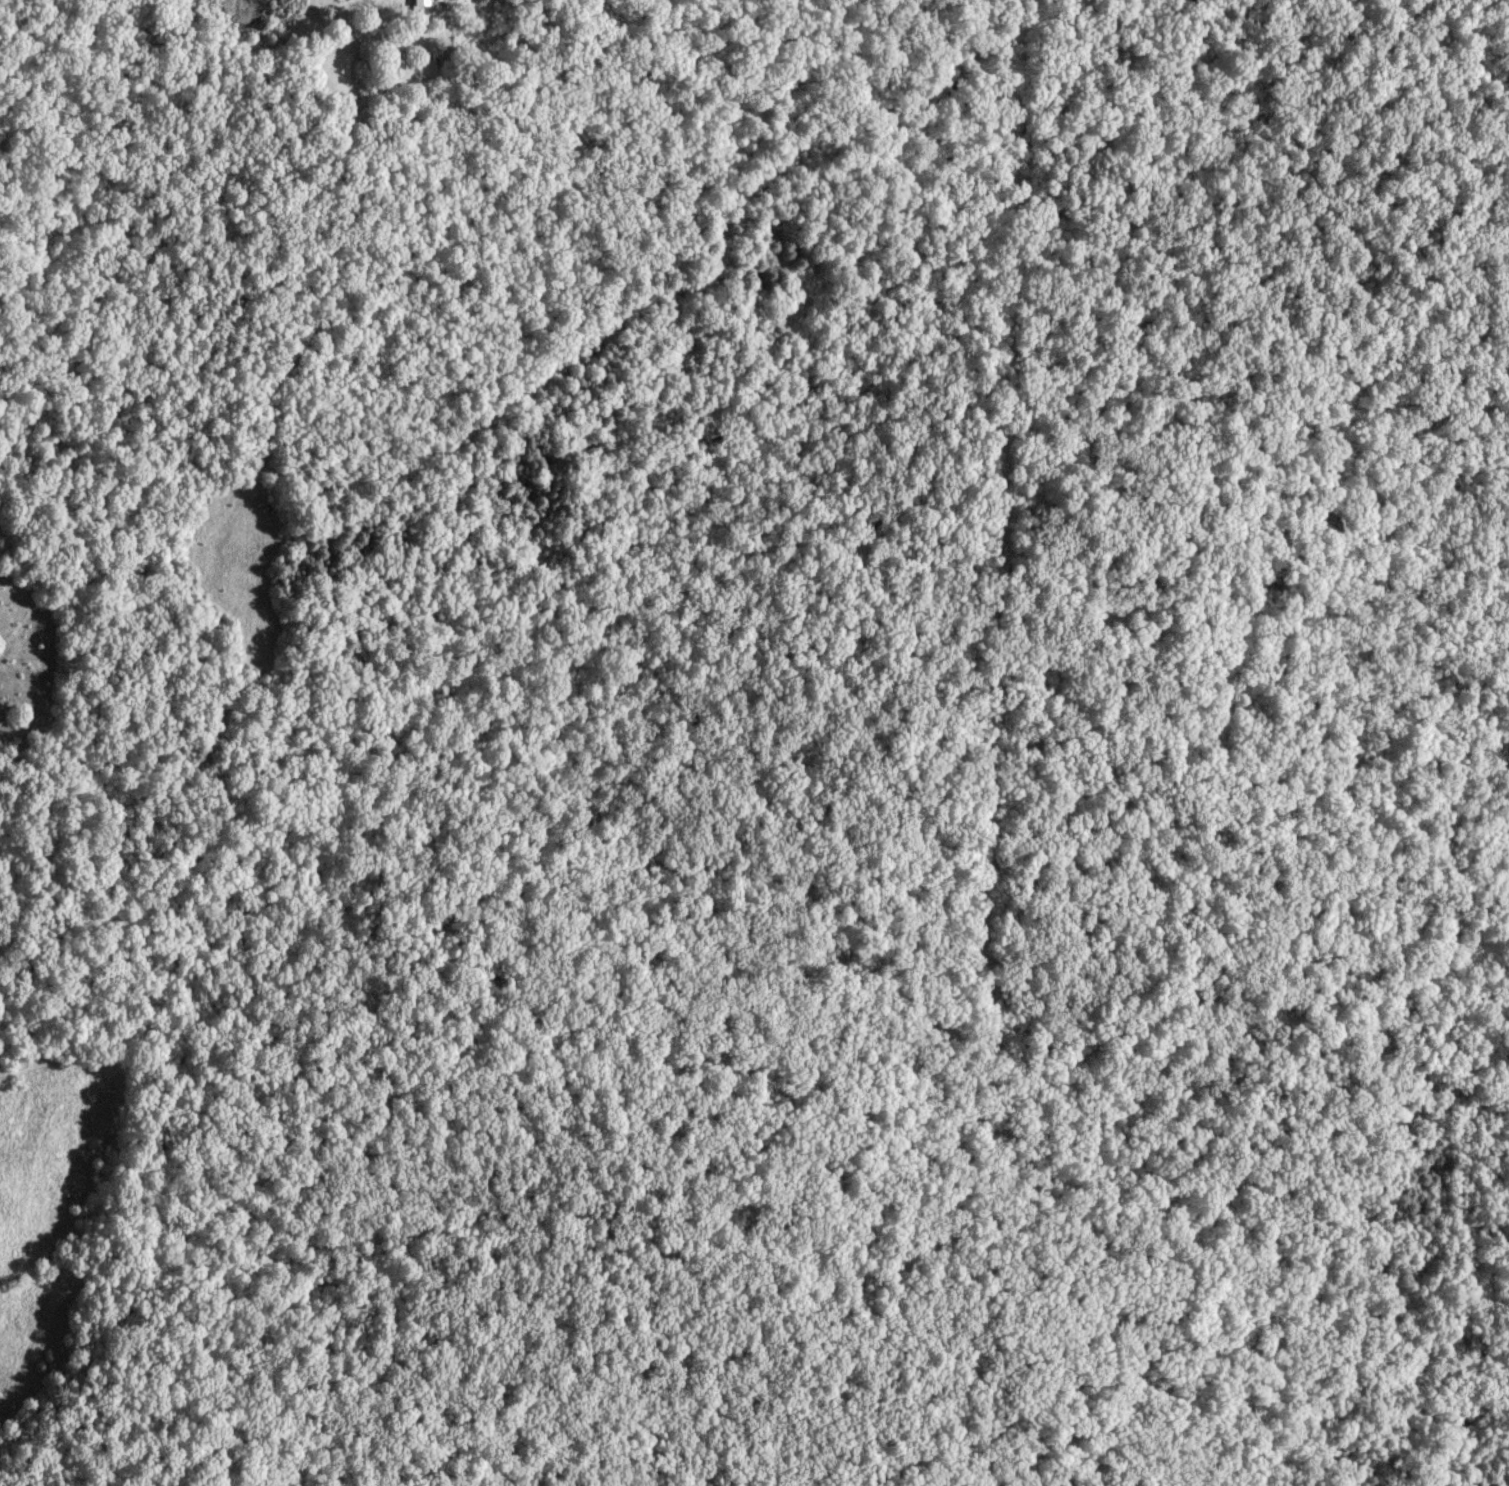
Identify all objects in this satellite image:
building: (429, 2)
building: (365, 70)

